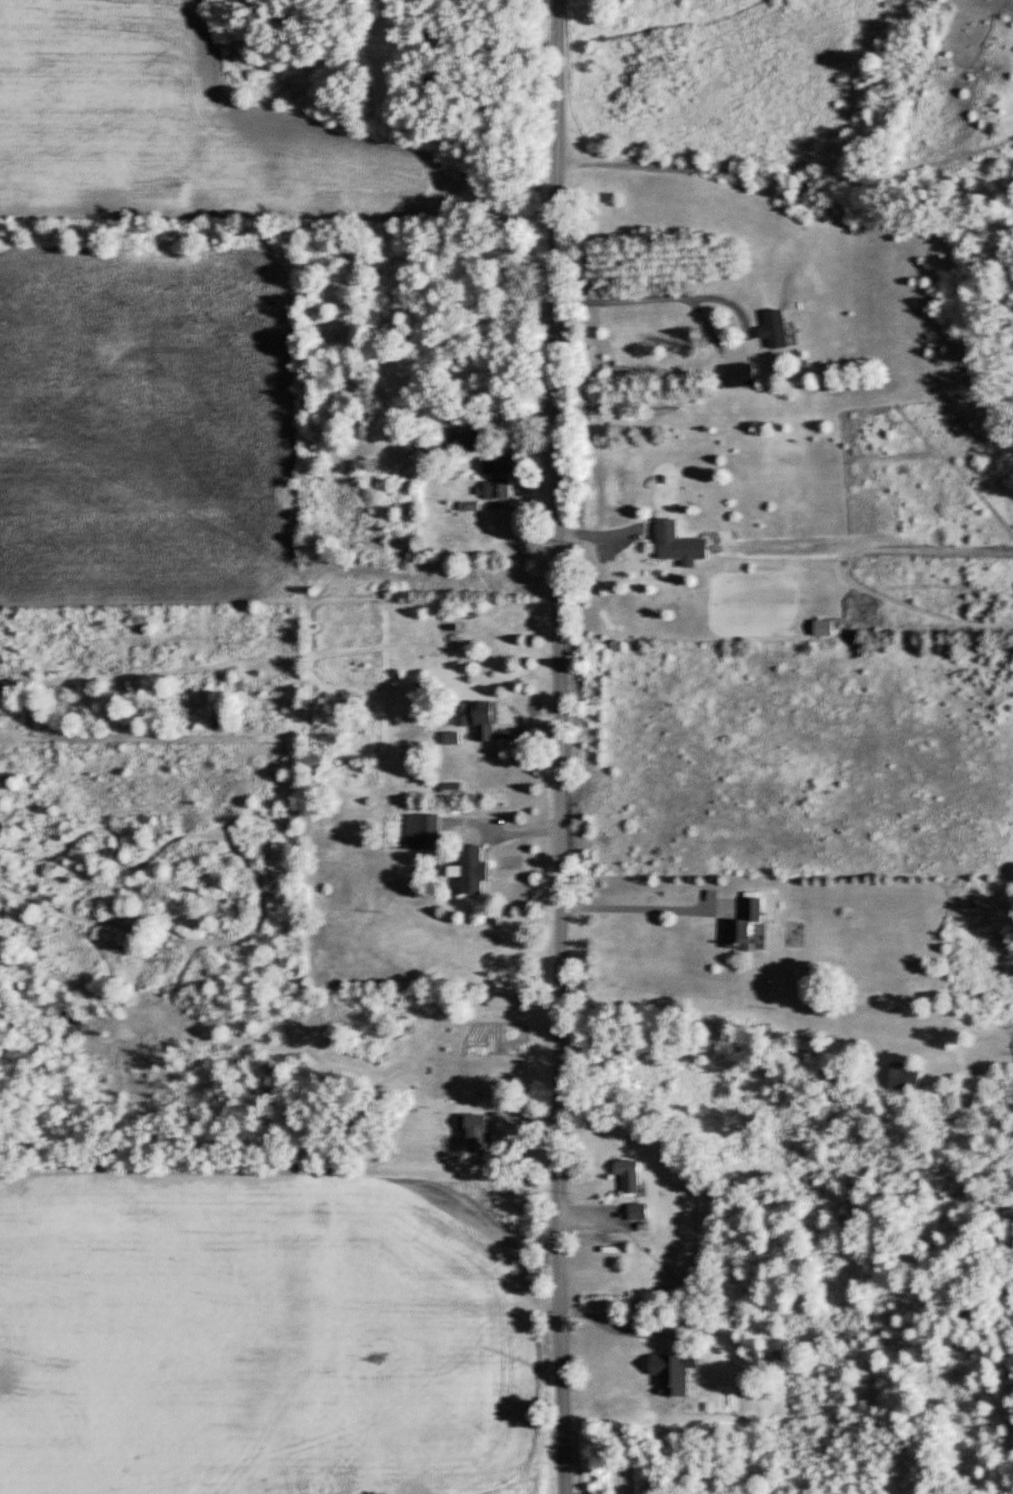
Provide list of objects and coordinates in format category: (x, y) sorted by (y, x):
crop: (179, 128)
road: (711, 296)
building: (776, 328)
building: (740, 374)
crop: (143, 430)
building: (466, 437)
building: (499, 463)
building: (498, 487)
building: (679, 542)
building: (479, 716)
building: (451, 736)
road: (560, 746)
building: (423, 830)
road: (506, 830)
building: (471, 868)
road: (633, 907)
building: (744, 924)
building: (905, 1077)
building: (479, 1132)
building: (629, 1174)
building: (639, 1211)
road: (606, 1324)
building: (674, 1371)

